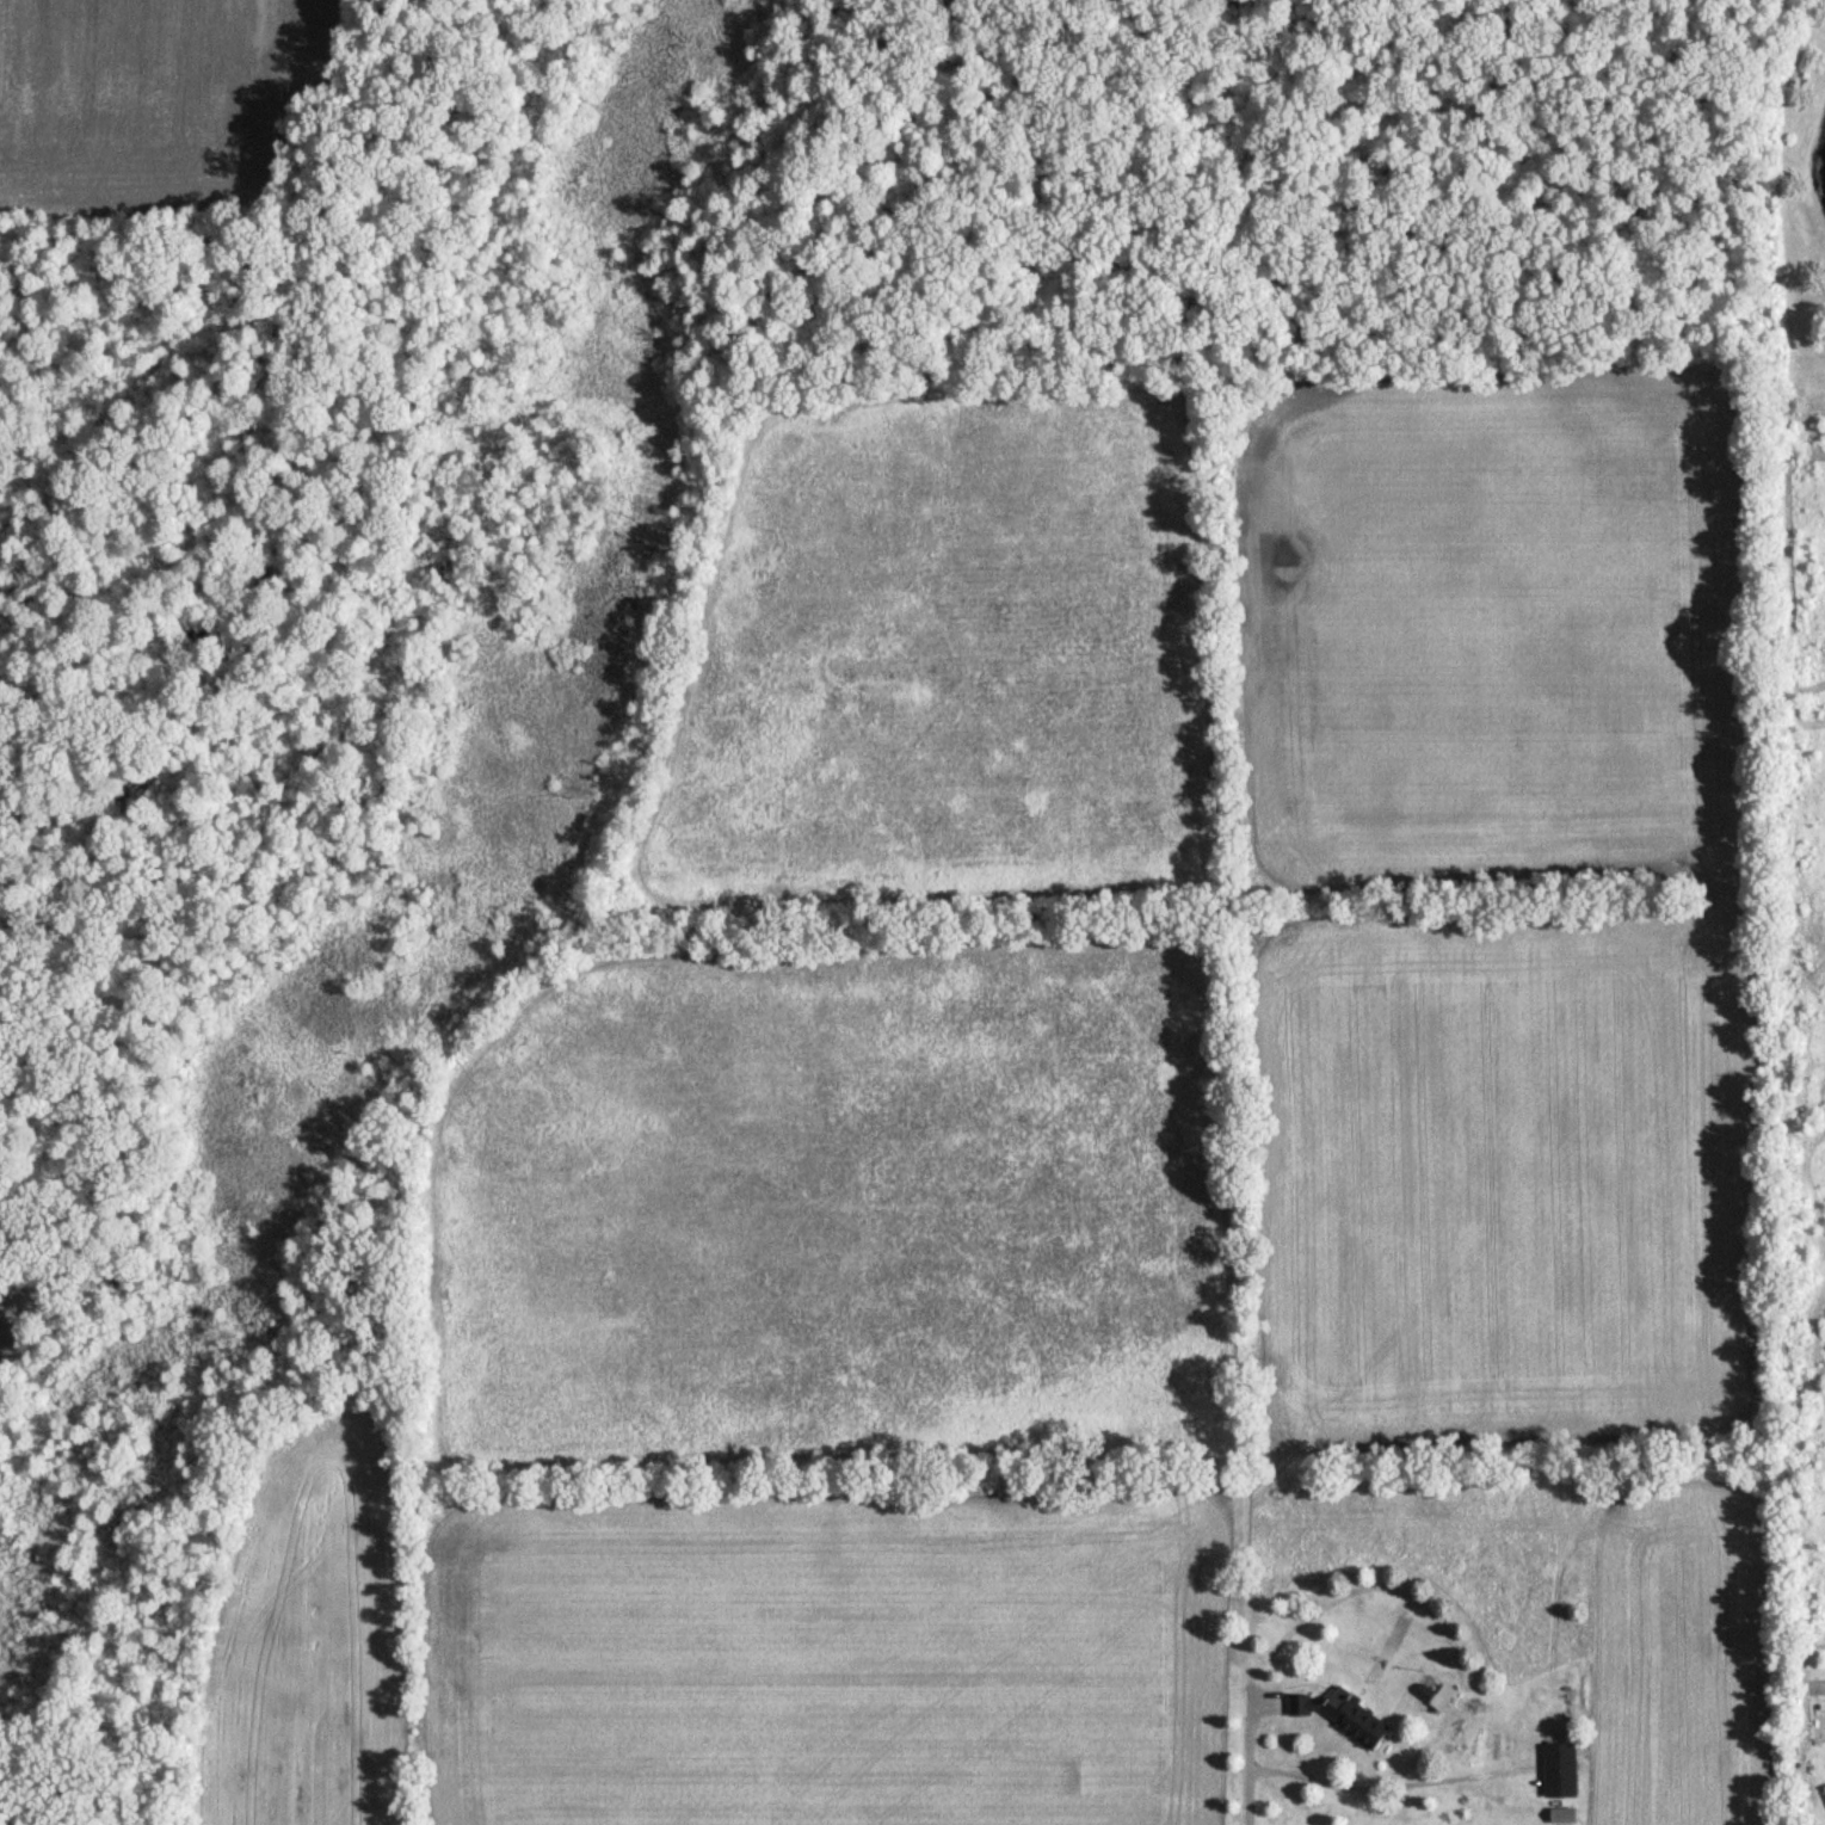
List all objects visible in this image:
building: (1343, 1714)
road: (1247, 1767)
building: (1560, 1769)

